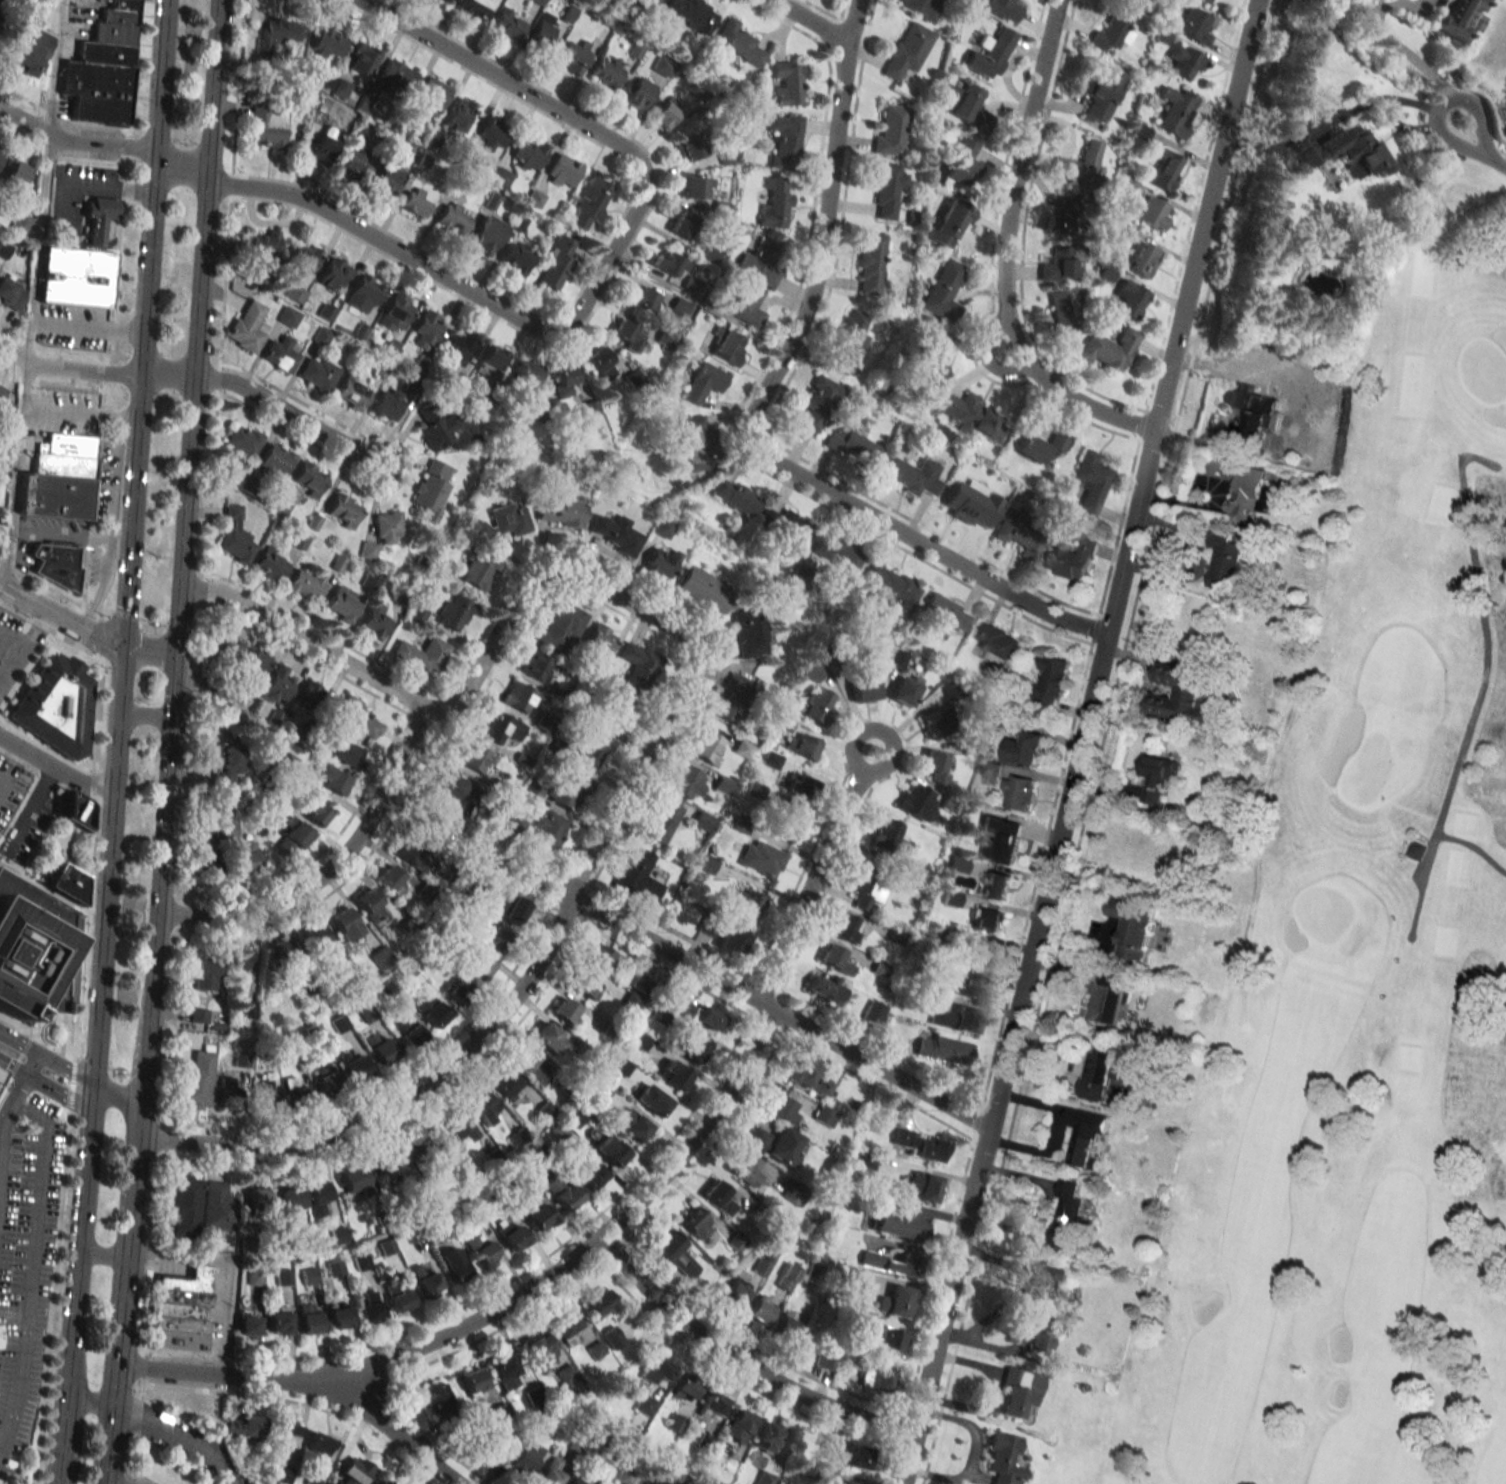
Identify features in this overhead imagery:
building: (445, 1)
building: (647, 4)
road: (1356, 5)
road: (1409, 5)
building: (921, 7)
building: (474, 8)
building: (1004, 9)
building: (693, 15)
building: (1455, 19)
road: (810, 21)
road: (852, 21)
building: (508, 23)
building: (1194, 25)
building: (542, 30)
building: (1111, 31)
building: (277, 34)
building: (328, 43)
building: (736, 43)
building: (907, 50)
building: (30, 53)
road: (1408, 54)
building: (574, 55)
building: (990, 55)
building: (363, 59)
building: (1184, 60)
building: (663, 66)
road: (54, 67)
building: (104, 67)
building: (399, 73)
building: (607, 73)
building: (788, 82)
building: (341, 88)
building: (1099, 93)
building: (639, 94)
building: (430, 96)
road: (19, 97)
building: (968, 106)
building: (1176, 111)
building: (459, 115)
building: (664, 115)
building: (267, 127)
building: (891, 129)
building: (494, 133)
building: (1299, 133)
road: (17, 139)
building: (785, 139)
road: (89, 143)
road: (1474, 145)
building: (690, 148)
building: (1354, 150)
building: (322, 152)
building: (529, 153)
building: (727, 155)
building: (961, 164)
building: (1083, 164)
building: (356, 165)
building: (1165, 169)
building: (564, 171)
building: (15, 175)
road: (195, 175)
building: (501, 178)
building: (386, 181)
building: (1128, 184)
building: (696, 186)
building: (887, 189)
road: (98, 191)
building: (416, 201)
building: (775, 202)
building: (590, 204)
building: (1154, 213)
building: (1068, 215)
building: (99, 217)
building: (454, 218)
building: (20, 222)
building: (948, 224)
building: (684, 225)
building: (1118, 231)
building: (487, 235)
building: (263, 244)
road: (38, 248)
building: (3, 249)
road: (1003, 254)
building: (302, 258)
building: (515, 258)
building: (763, 260)
building: (1142, 260)
building: (558, 262)
building: (670, 263)
building: (871, 264)
building: (1058, 264)
building: (1107, 272)
building: (335, 275)
building: (76, 277)
road: (600, 277)
building: (944, 292)
building: (365, 293)
building: (10, 294)
building: (294, 294)
building: (643, 297)
building: (1130, 298)
building: (745, 305)
building: (327, 312)
building: (1066, 312)
building: (396, 313)
building: (288, 316)
building: (247, 326)
road: (88, 327)
road: (8, 328)
building: (427, 329)
building: (626, 331)
building: (322, 336)
building: (848, 341)
building: (727, 346)
building: (460, 347)
building: (1110, 349)
building: (280, 354)
building: (931, 355)
road: (983, 355)
building: (490, 361)
building: (602, 364)
road: (81, 370)
building: (318, 373)
building: (528, 373)
building: (564, 380)
building: (704, 382)
road: (68, 388)
building: (1, 391)
building: (352, 392)
building: (1236, 400)
building: (388, 404)
building: (818, 404)
building: (5, 408)
road: (277, 408)
road: (74, 413)
building: (971, 415)
road: (218, 421)
building: (1253, 423)
building: (439, 430)
road: (751, 436)
building: (243, 439)
building: (695, 442)
building: (852, 444)
building: (1041, 447)
building: (276, 460)
road: (17, 474)
building: (906, 474)
building: (59, 479)
building: (309, 479)
building: (1091, 481)
building: (247, 488)
building: (433, 488)
building: (1245, 489)
building: (735, 495)
building: (964, 509)
building: (343, 510)
building: (560, 511)
road: (111, 515)
building: (505, 521)
building: (663, 527)
building: (786, 527)
building: (384, 531)
building: (615, 532)
building: (1021, 535)
building: (234, 538)
road: (129, 539)
building: (837, 553)
building: (1074, 556)
building: (1223, 559)
road: (181, 560)
building: (55, 562)
building: (270, 563)
building: (479, 570)
building: (371, 581)
building: (306, 583)
building: (892, 586)
building: (705, 588)
building: (343, 602)
road: (17, 604)
building: (455, 612)
building: (417, 613)
building: (946, 613)
building: (374, 621)
road: (659, 621)
building: (561, 624)
parking lot: (8, 631)
road: (83, 632)
building: (747, 634)
road: (13, 638)
building: (599, 639)
road: (305, 641)
building: (995, 641)
building: (227, 645)
road: (23, 648)
building: (423, 653)
building: (899, 657)
building: (254, 662)
building: (535, 665)
building: (638, 666)
road: (1479, 677)
road: (0, 683)
building: (1050, 683)
building: (277, 685)
building: (863, 688)
building: (904, 691)
building: (312, 694)
building: (1184, 695)
building: (730, 697)
building: (521, 698)
building: (819, 704)
building: (55, 706)
road: (144, 716)
building: (360, 718)
building: (935, 723)
building: (500, 727)
road: (1079, 742)
building: (705, 745)
building: (803, 745)
building: (743, 746)
building: (594, 748)
building: (1026, 749)
building: (345, 751)
building: (475, 757)
building: (771, 759)
road: (856, 761)
road: (54, 766)
building: (227, 766)
building: (936, 766)
building: (991, 769)
building: (1156, 776)
road: (3, 778)
building: (331, 779)
building: (687, 781)
building: (451, 783)
building: (800, 785)
parking lot: (9, 787)
building: (569, 789)
building: (756, 789)
building: (1017, 791)
building: (918, 802)
road: (29, 807)
building: (75, 809)
building: (316, 809)
building: (790, 816)
building: (701, 820)
building: (661, 821)
building: (517, 822)
parking lot: (27, 826)
building: (550, 828)
building: (890, 834)
building: (293, 839)
building: (1002, 839)
road: (1472, 845)
building: (1415, 849)
building: (413, 854)
building: (761, 858)
building: (246, 861)
building: (212, 863)
building: (958, 863)
building: (705, 864)
road: (331, 867)
building: (919, 873)
building: (637, 877)
building: (390, 879)
building: (65, 883)
road: (810, 884)
building: (999, 885)
building: (867, 893)
building: (432, 895)
building: (951, 898)
building: (746, 903)
building: (370, 904)
building: (511, 909)
building: (987, 918)
building: (345, 923)
building: (847, 927)
building: (1132, 927)
building: (494, 937)
building: (317, 940)
building: (731, 941)
building: (285, 949)
building: (35, 951)
building: (978, 952)
building: (598, 956)
building: (381, 957)
building: (240, 959)
building: (835, 959)
park: (1362, 960)
road: (683, 961)
building: (479, 965)
building: (205, 973)
building: (968, 983)
building: (586, 986)
building: (824, 989)
building: (457, 990)
building: (1106, 999)
building: (430, 1010)
building: (565, 1011)
building: (873, 1011)
building: (698, 1014)
building: (955, 1018)
building: (339, 1023)
building: (408, 1034)
building: (549, 1038)
building: (640, 1040)
building: (380, 1049)
building: (694, 1049)
building: (943, 1049)
road: (46, 1054)
building: (241, 1058)
road: (33, 1063)
building: (354, 1066)
building: (534, 1067)
building: (1096, 1072)
building: (674, 1074)
building: (807, 1076)
building: (327, 1080)
building: (1, 1081)
parking lot: (1, 1081)
building: (196, 1081)
building: (506, 1084)
road: (45, 1085)
road: (124, 1091)
building: (227, 1092)
building: (262, 1092)
building: (295, 1094)
road: (13, 1098)
building: (652, 1100)
road: (398, 1102)
building: (481, 1106)
building: (781, 1108)
building: (577, 1114)
building: (825, 1115)
building: (629, 1123)
building: (461, 1127)
building: (757, 1137)
building: (1084, 1138)
building: (784, 1145)
building: (920, 1145)
building: (433, 1146)
building: (610, 1150)
building: (864, 1162)
building: (390, 1164)
building: (746, 1169)
road: (133, 1170)
building: (590, 1174)
building: (354, 1180)
building: (924, 1186)
building: (562, 1191)
building: (794, 1192)
building: (315, 1196)
building: (722, 1197)
building: (185, 1200)
building: (257, 1201)
building: (290, 1201)
building: (216, 1208)
building: (538, 1216)
building: (1065, 1216)
road: (79, 1221)
building: (694, 1221)
building: (900, 1226)
building: (337, 1234)
building: (510, 1234)
building: (482, 1251)
building: (675, 1253)
road: (100, 1256)
building: (887, 1262)
parking lot: (25, 1264)
building: (453, 1264)
building: (762, 1264)
road: (31, 1265)
road: (228, 1266)
building: (334, 1268)
building: (307, 1275)
building: (1048, 1275)
building: (254, 1276)
building: (282, 1277)
building: (786, 1277)
building: (426, 1282)
building: (733, 1293)
building: (398, 1297)
building: (898, 1301)
building: (599, 1303)
road: (502, 1305)
building: (369, 1308)
building: (759, 1308)
building: (180, 1310)
building: (337, 1315)
building: (307, 1318)
building: (277, 1320)
building: (247, 1323)
building: (784, 1324)
building: (565, 1325)
road: (118, 1332)
building: (1039, 1334)
building: (612, 1337)
building: (887, 1342)
building: (541, 1348)
building: (595, 1350)
building: (826, 1358)
road: (739, 1362)
building: (505, 1371)
building: (656, 1371)
building: (566, 1375)
building: (876, 1378)
building: (472, 1380)
building: (681, 1388)
building: (1019, 1392)
building: (436, 1398)
road: (88, 1402)
building: (644, 1405)
road: (64, 1407)
building: (499, 1411)
building: (738, 1424)
building: (243, 1427)
road: (391, 1432)
building: (768, 1434)
road: (176, 1435)
building: (284, 1435)
building: (319, 1444)
building: (849, 1452)
building: (1004, 1458)
building: (524, 1459)
road: (105, 1463)
road: (59, 1466)
building: (354, 1470)
building: (551, 1471)
building: (808, 1471)
building: (576, 1481)
building: (382, 1482)
building: (845, 1482)

